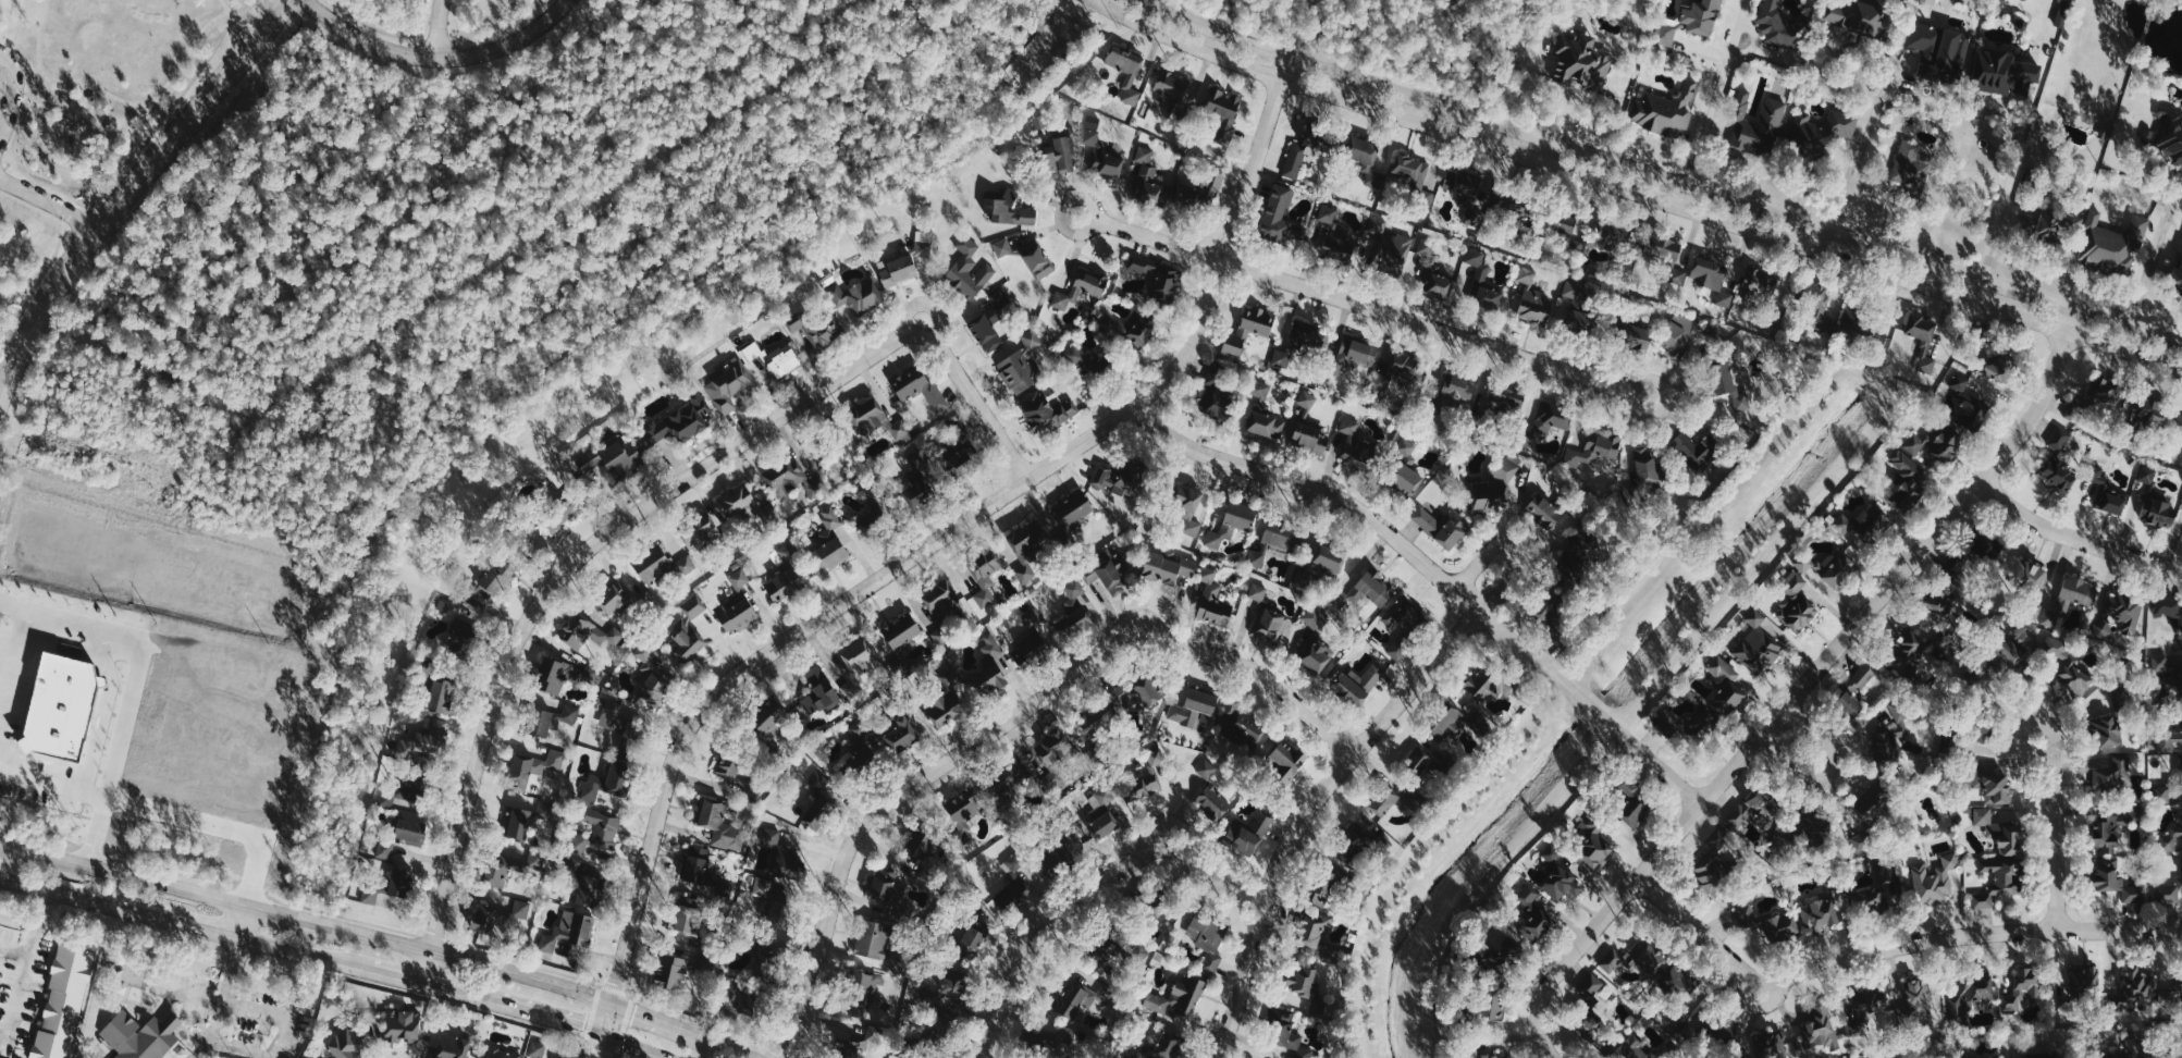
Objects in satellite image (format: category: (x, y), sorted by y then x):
building: (1930, 1)
road: (226, 10)
building: (1856, 15)
building: (1689, 21)
building: (1775, 27)
road: (435, 28)
road: (434, 60)
building: (1581, 61)
building: (1125, 71)
building: (2002, 73)
building: (1171, 84)
road: (13, 90)
road: (26, 93)
road: (116, 98)
building: (1664, 109)
building: (1222, 110)
road: (167, 111)
road: (152, 112)
road: (1704, 119)
building: (1756, 124)
building: (1822, 131)
building: (2170, 135)
road: (125, 140)
park: (67, 143)
road: (1859, 143)
road: (17, 147)
road: (1541, 150)
building: (1059, 155)
building: (1104, 155)
building: (1299, 156)
building: (1364, 157)
building: (1913, 172)
building: (1146, 176)
building: (1414, 176)
road: (1661, 176)
road: (133, 184)
building: (1460, 184)
building: (1197, 193)
road: (1637, 194)
road: (2007, 199)
road: (48, 204)
building: (1507, 206)
building: (1009, 210)
building: (1328, 213)
building: (1278, 214)
building: (1562, 222)
building: (2046, 224)
building: (1377, 225)
road: (1088, 232)
building: (1611, 233)
road: (1802, 235)
building: (924, 241)
building: (2110, 243)
building: (967, 245)
building: (1339, 245)
building: (1577, 245)
building: (1427, 246)
building: (1002, 247)
building: (1391, 253)
road: (2153, 253)
building: (1666, 256)
building: (1036, 259)
building: (1143, 266)
building: (896, 269)
building: (2177, 269)
building: (1709, 272)
building: (1527, 274)
building: (970, 275)
building: (1481, 282)
building: (1766, 282)
building: (1164, 283)
building: (1438, 284)
building: (1081, 288)
building: (1571, 292)
building: (856, 295)
building: (1725, 298)
building: (1000, 305)
building: (1534, 305)
road: (924, 307)
building: (1817, 308)
road: (1373, 309)
building: (1580, 322)
building: (1849, 323)
building: (819, 329)
building: (1247, 329)
building: (1131, 331)
building: (985, 332)
building: (1678, 333)
building: (1309, 335)
building: (1635, 337)
building: (1032, 340)
building: (1925, 346)
building: (1353, 355)
building: (1282, 358)
building: (1085, 359)
building: (1999, 366)
building: (1403, 367)
building: (1018, 371)
building: (910, 383)
building: (730, 384)
building: (1726, 384)
building: (1457, 387)
building: (1260, 389)
building: (2104, 391)
building: (1216, 399)
building: (1505, 399)
building: (1970, 405)
building: (1046, 410)
building: (2152, 410)
building: (680, 420)
building: (877, 420)
building: (2179, 422)
building: (1265, 423)
building: (1545, 425)
building: (1309, 436)
building: (2059, 441)
building: (1358, 443)
building: (1937, 443)
building: (1405, 448)
building: (1593, 450)
building: (1696, 450)
building: (613, 462)
building: (941, 463)
building: (1645, 466)
building: (2147, 473)
building: (2057, 476)
building: (786, 477)
building: (1405, 479)
building: (1112, 480)
building: (1909, 481)
building: (1495, 484)
building: (813, 488)
building: (2105, 491)
building: (912, 493)
building: (744, 505)
building: (1191, 507)
building: (2157, 509)
building: (1072, 510)
building: (1543, 510)
road: (629, 517)
building: (870, 522)
building: (1231, 524)
building: (1442, 526)
building: (1862, 526)
building: (701, 532)
road: (2075, 539)
road: (934, 540)
building: (1275, 543)
building: (827, 544)
road: (1513, 549)
building: (1031, 550)
building: (788, 551)
building: (1329, 559)
building: (1808, 564)
building: (661, 565)
building: (1168, 568)
building: (2022, 570)
building: (1839, 573)
building: (1106, 574)
building: (985, 575)
road: (1437, 575)
building: (496, 576)
building: (784, 583)
building: (471, 591)
building: (1365, 591)
building: (1258, 592)
building: (615, 596)
building: (941, 600)
building: (1212, 600)
building: (2070, 601)
building: (1796, 603)
building: (737, 605)
building: (693, 606)
building: (1076, 608)
building: (1546, 608)
building: (2033, 610)
building: (2131, 614)
building: (2168, 614)
road: (1136, 616)
building: (1403, 617)
building: (1270, 626)
building: (455, 628)
building: (2103, 628)
building: (587, 631)
building: (901, 631)
building: (940, 638)
building: (686, 640)
building: (1315, 642)
building: (990, 645)
building: (1758, 645)
building: (1030, 649)
building: (644, 651)
building: (1396, 651)
building: (2006, 655)
building: (2159, 663)
building: (2069, 665)
road: (14, 673)
building: (2177, 674)
building: (555, 676)
building: (1860, 679)
building: (654, 684)
building: (1357, 685)
building: (1725, 685)
building: (1487, 686)
road: (137, 689)
road: (1803, 689)
building: (819, 691)
building: (962, 692)
building: (1138, 692)
building: (440, 697)
building: (1846, 704)
building: (1193, 708)
building: (550, 719)
building: (624, 723)
building: (769, 723)
building: (1459, 724)
building: (1240, 725)
building: (1689, 725)
road: (1000, 726)
building: (2105, 731)
building: (1982, 733)
building: (900, 735)
building: (1887, 738)
building: (2168, 740)
building: (426, 741)
road: (1797, 742)
building: (1053, 748)
building: (1285, 760)
building: (728, 766)
building: (532, 767)
building: (1207, 768)
building: (2110, 773)
building: (2180, 774)
building: (618, 776)
building: (1011, 776)
building: (1145, 780)
building: (1989, 784)
road: (54, 786)
building: (591, 787)
building: (403, 791)
building: (2162, 795)
building: (817, 802)
building: (1213, 802)
building: (1383, 802)
building: (1629, 803)
building: (1871, 805)
building: (545, 810)
road: (1308, 810)
building: (1755, 811)
building: (963, 813)
building: (2135, 813)
road: (1169, 820)
building: (519, 823)
building: (720, 826)
building: (602, 827)
road: (215, 829)
building: (409, 832)
building: (2000, 832)
road: (2057, 832)
building: (1247, 834)
building: (2107, 835)
building: (769, 837)
building: (2171, 839)
building: (1355, 840)
building: (1593, 844)
building: (578, 845)
building: (920, 846)
road: (8, 847)
building: (385, 848)
building: (789, 861)
building: (1716, 862)
building: (501, 869)
building: (705, 874)
building: (1560, 876)
road: (131, 877)
building: (1934, 881)
building: (2115, 881)
building: (1998, 882)
building: (400, 884)
building: (883, 884)
building: (1324, 889)
building: (591, 890)
road: (1087, 893)
building: (2169, 893)
building: (1867, 899)
building: (768, 900)
building: (520, 909)
building: (1820, 912)
building: (686, 914)
building: (1533, 915)
building: (1746, 915)
road: (289, 916)
building: (485, 919)
road: (171, 921)
road: (242, 922)
building: (1779, 927)
building: (569, 931)
building: (1316, 934)
building: (1207, 939)
building: (873, 940)
road: (13, 948)
road: (1885, 950)
building: (1634, 959)
road: (473, 962)
road: (24, 964)
building: (670, 971)
building: (132, 973)
road: (380, 974)
building: (2084, 979)
building: (1677, 981)
traffic signals: (617, 983)
building: (2133, 987)
road: (451, 993)
building: (861, 994)
building: (2169, 994)
building: (1970, 995)
building: (1178, 996)
building: (1077, 998)
building: (1919, 999)
building: (62, 1002)
building: (1491, 1007)
building: (1864, 1008)
traffic signals: (637, 1011)
road: (271, 1014)
road: (543, 1019)
road: (220, 1020)
road: (664, 1021)
building: (402, 1025)
building: (942, 1026)
traffic signals: (580, 1030)
building: (1725, 1031)
building: (1289, 1033)
building: (140, 1035)
building: (858, 1043)
building: (344, 1044)
building: (1167, 1045)
road: (600, 1046)
building: (452, 1047)
road: (630, 1047)
building: (1775, 1047)
building: (537, 1049)
building: (1632, 1049)
road: (734, 1050)
building: (500, 1054)
building: (1491, 1055)
building: (557, 1056)
building: (2045, 1056)
building: (2177, 1056)
traffic signals: (597, 1057)

